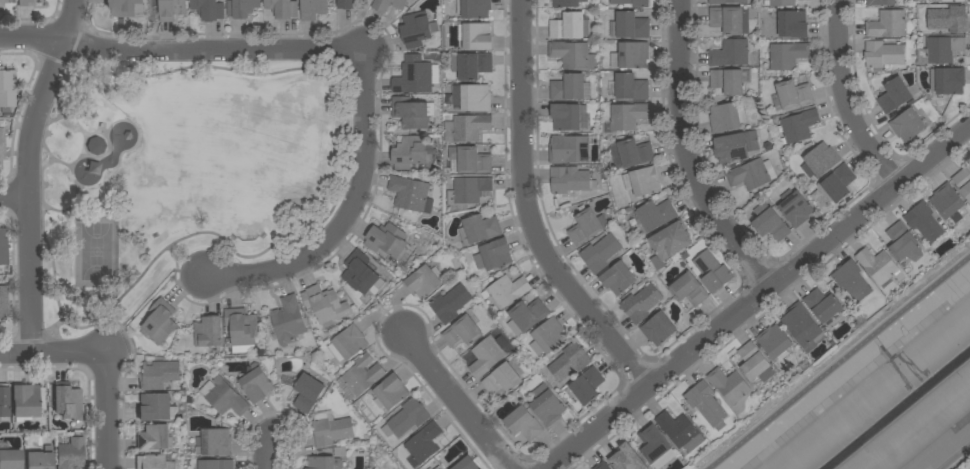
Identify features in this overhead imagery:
building: (949, 1)
building: (3, 2)
building: (728, 2)
building: (28, 3)
building: (567, 3)
building: (632, 3)
building: (782, 3)
building: (881, 3)
building: (347, 4)
building: (388, 5)
building: (124, 8)
building: (242, 8)
building: (283, 8)
building: (209, 9)
building: (313, 9)
building: (474, 9)
building: (172, 10)
building: (948, 19)
building: (730, 20)
building: (791, 24)
building: (887, 24)
building: (631, 25)
building: (570, 26)
building: (417, 29)
building: (477, 36)
road: (181, 50)
building: (940, 50)
building: (730, 53)
building: (571, 54)
building: (883, 54)
building: (630, 55)
building: (785, 56)
building: (471, 65)
building: (414, 76)
building: (728, 81)
building: (947, 81)
building: (631, 87)
building: (7, 88)
building: (567, 88)
building: (793, 95)
building: (894, 95)
building: (473, 98)
road: (847, 99)
building: (412, 112)
building: (628, 116)
building: (566, 117)
building: (727, 117)
building: (799, 125)
building: (908, 125)
building: (466, 128)
building: (2, 143)
building: (737, 145)
building: (96, 146)
building: (569, 149)
building: (411, 153)
building: (635, 153)
road: (689, 156)
building: (469, 160)
building: (820, 160)
road: (30, 173)
building: (751, 174)
park: (183, 177)
building: (570, 180)
building: (643, 181)
building: (963, 182)
building: (839, 183)
building: (468, 190)
building: (411, 194)
road: (15, 197)
building: (948, 203)
building: (795, 207)
road: (531, 212)
building: (655, 215)
road: (347, 216)
building: (924, 222)
building: (770, 223)
building: (587, 227)
building: (479, 229)
building: (671, 240)
building: (387, 241)
building: (903, 243)
building: (3, 247)
park: (96, 251)
building: (601, 253)
building: (493, 255)
building: (880, 269)
building: (712, 271)
building: (361, 273)
building: (618, 278)
building: (852, 280)
building: (424, 282)
building: (689, 289)
building: (508, 291)
road: (760, 298)
building: (3, 301)
building: (450, 303)
building: (641, 303)
building: (325, 305)
building: (823, 305)
building: (527, 316)
building: (288, 321)
building: (161, 322)
building: (802, 326)
building: (242, 329)
building: (658, 329)
building: (208, 332)
building: (462, 332)
building: (548, 336)
building: (774, 341)
building: (348, 344)
road: (53, 353)
building: (488, 354)
road: (838, 360)
building: (753, 361)
building: (569, 362)
building: (159, 375)
building: (362, 375)
building: (502, 379)
building: (256, 384)
building: (587, 385)
building: (729, 385)
building: (391, 391)
building: (308, 393)
building: (224, 396)
building: (4, 400)
road: (456, 401)
building: (26, 402)
building: (68, 403)
building: (706, 404)
building: (547, 405)
building: (155, 407)
road: (108, 411)
building: (406, 418)
building: (524, 423)
building: (331, 429)
building: (680, 431)
building: (154, 438)
building: (214, 442)
building: (423, 445)
building: (656, 446)
building: (71, 454)
road: (269, 454)
building: (11, 459)
building: (40, 459)
building: (626, 461)
building: (153, 462)
building: (324, 463)
building: (216, 464)
building: (467, 464)
building: (602, 466)
building: (430, 468)
building: (439, 468)

